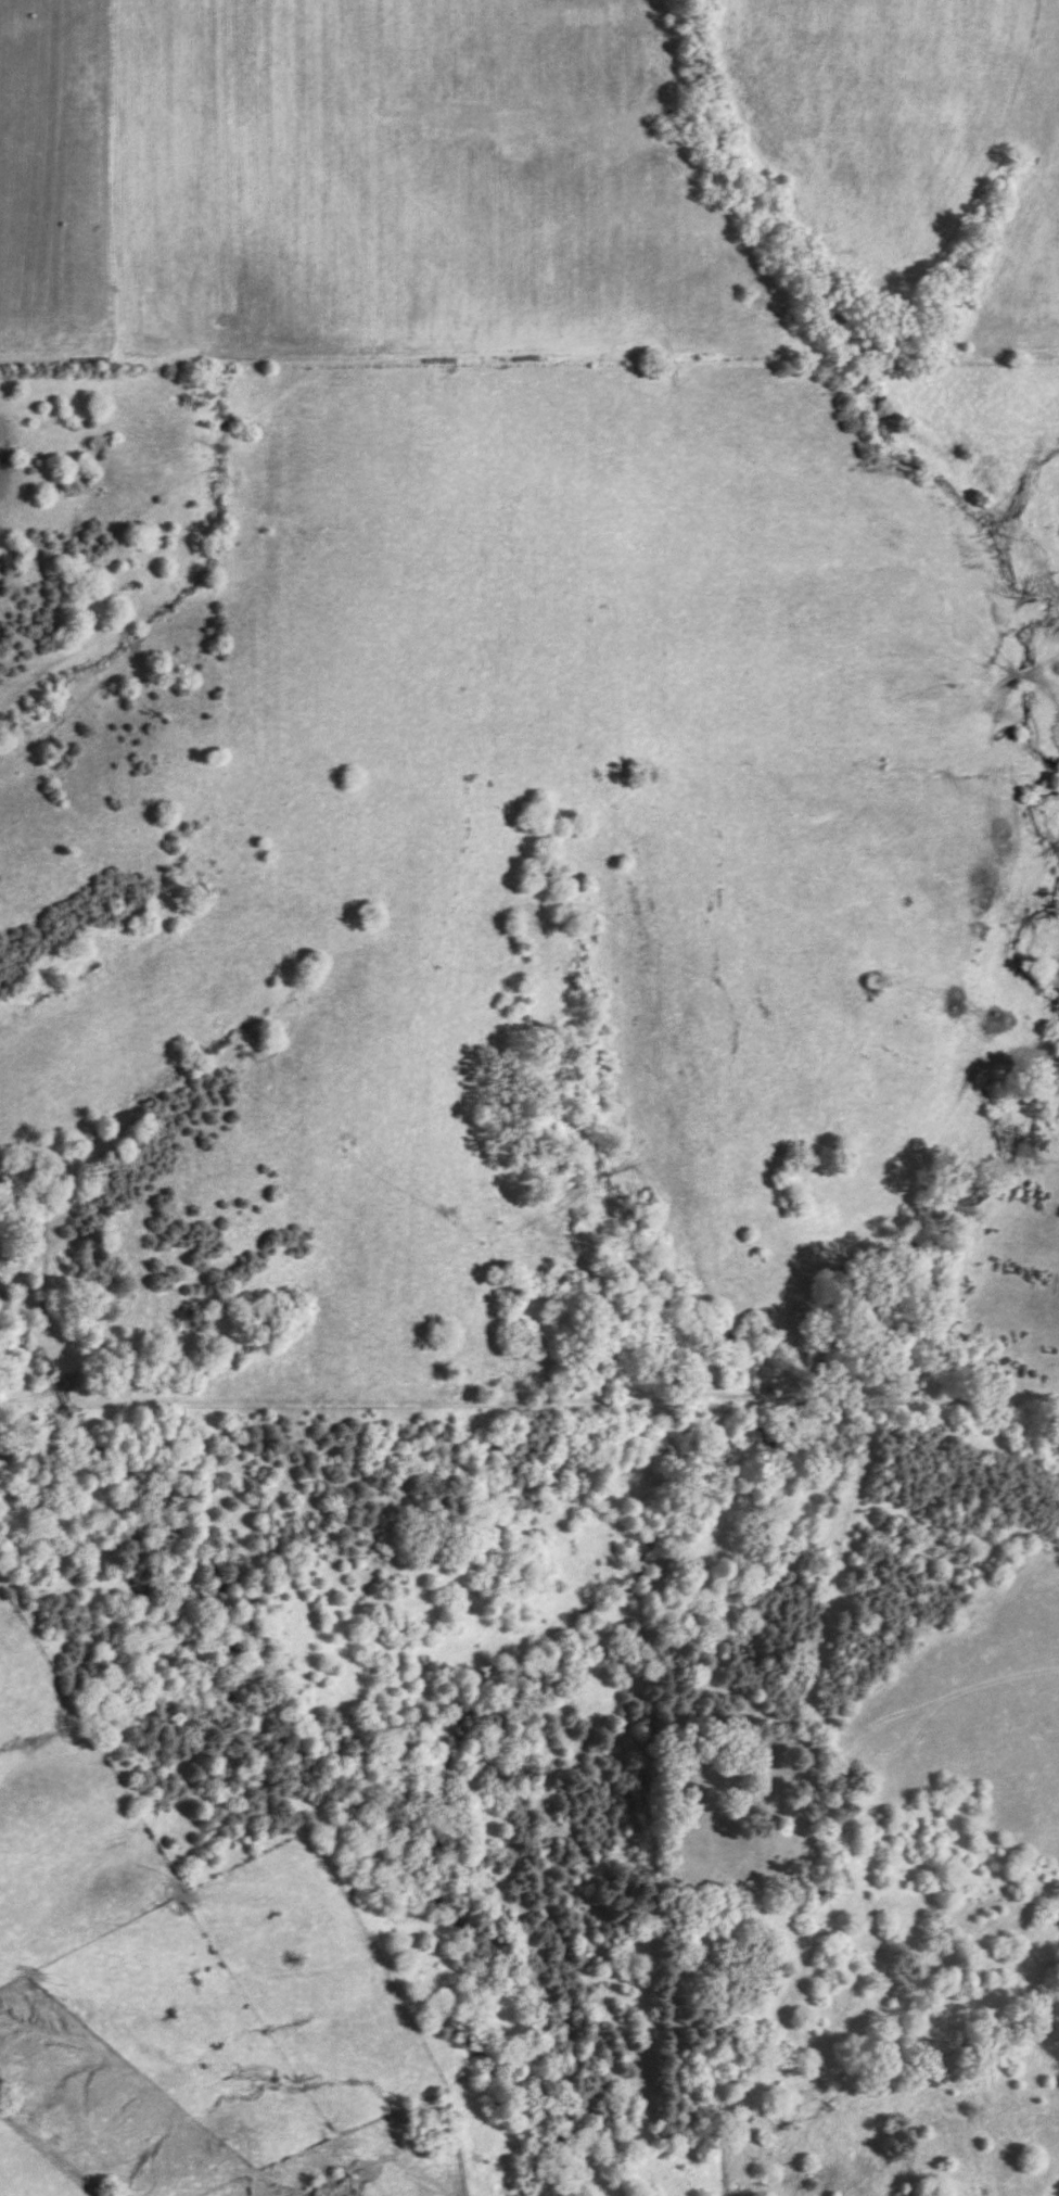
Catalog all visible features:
park: (753, 1817)

